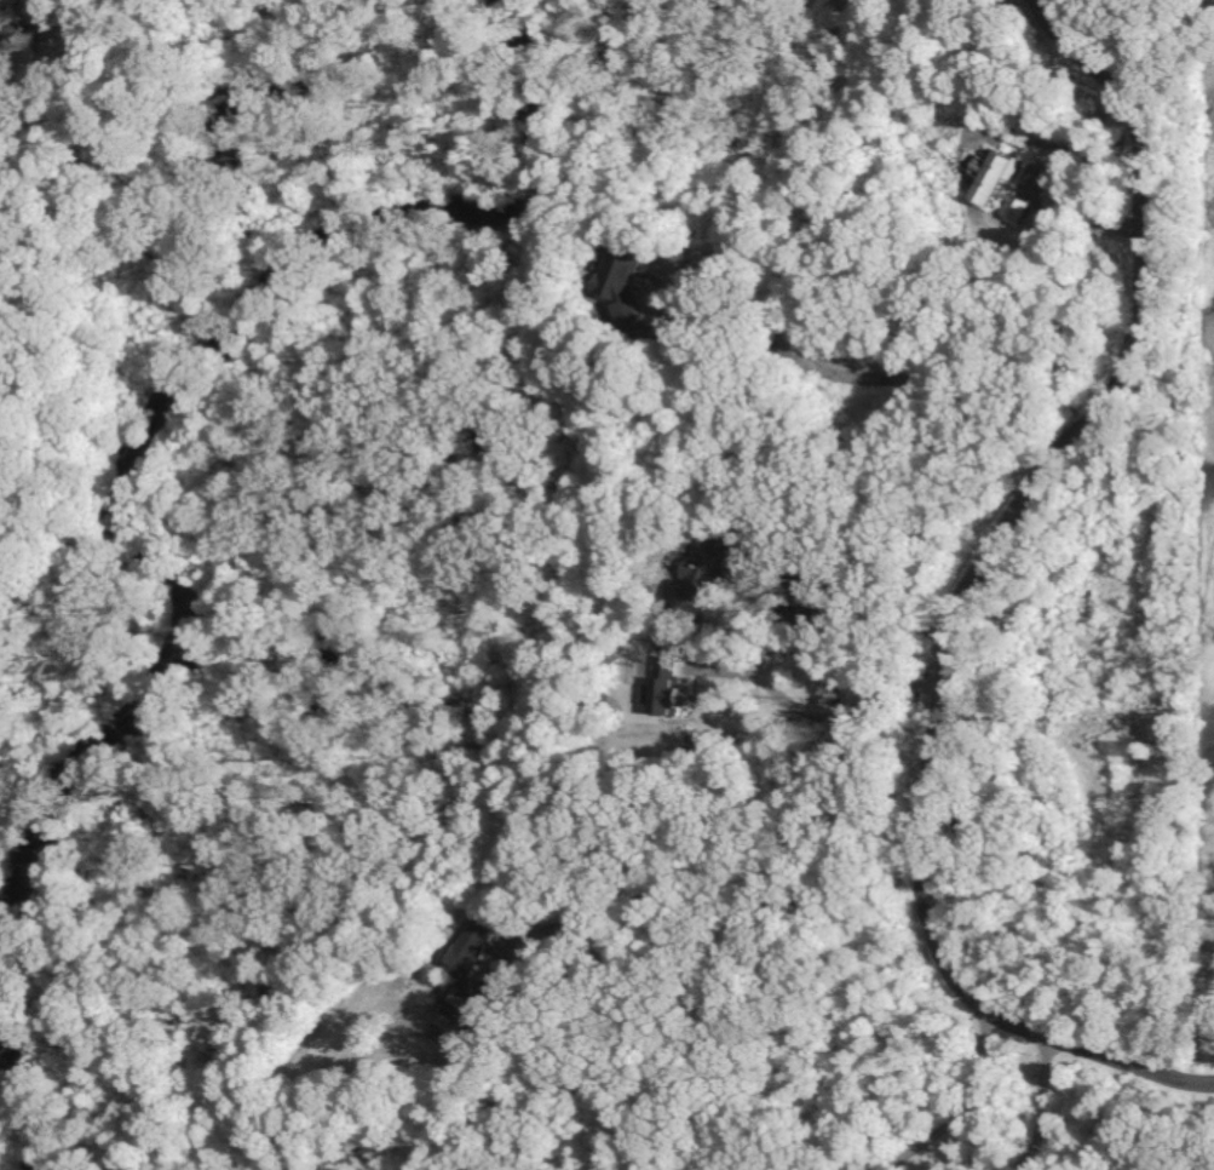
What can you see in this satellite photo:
building: (10, 33)
building: (997, 185)
road: (1030, 189)
river: (165, 382)
road: (848, 397)
road: (961, 589)
road: (819, 711)
crop: (1206, 721)
road: (752, 904)
building: (477, 977)
road: (968, 1101)
road: (1034, 1103)
river: (27, 1117)

